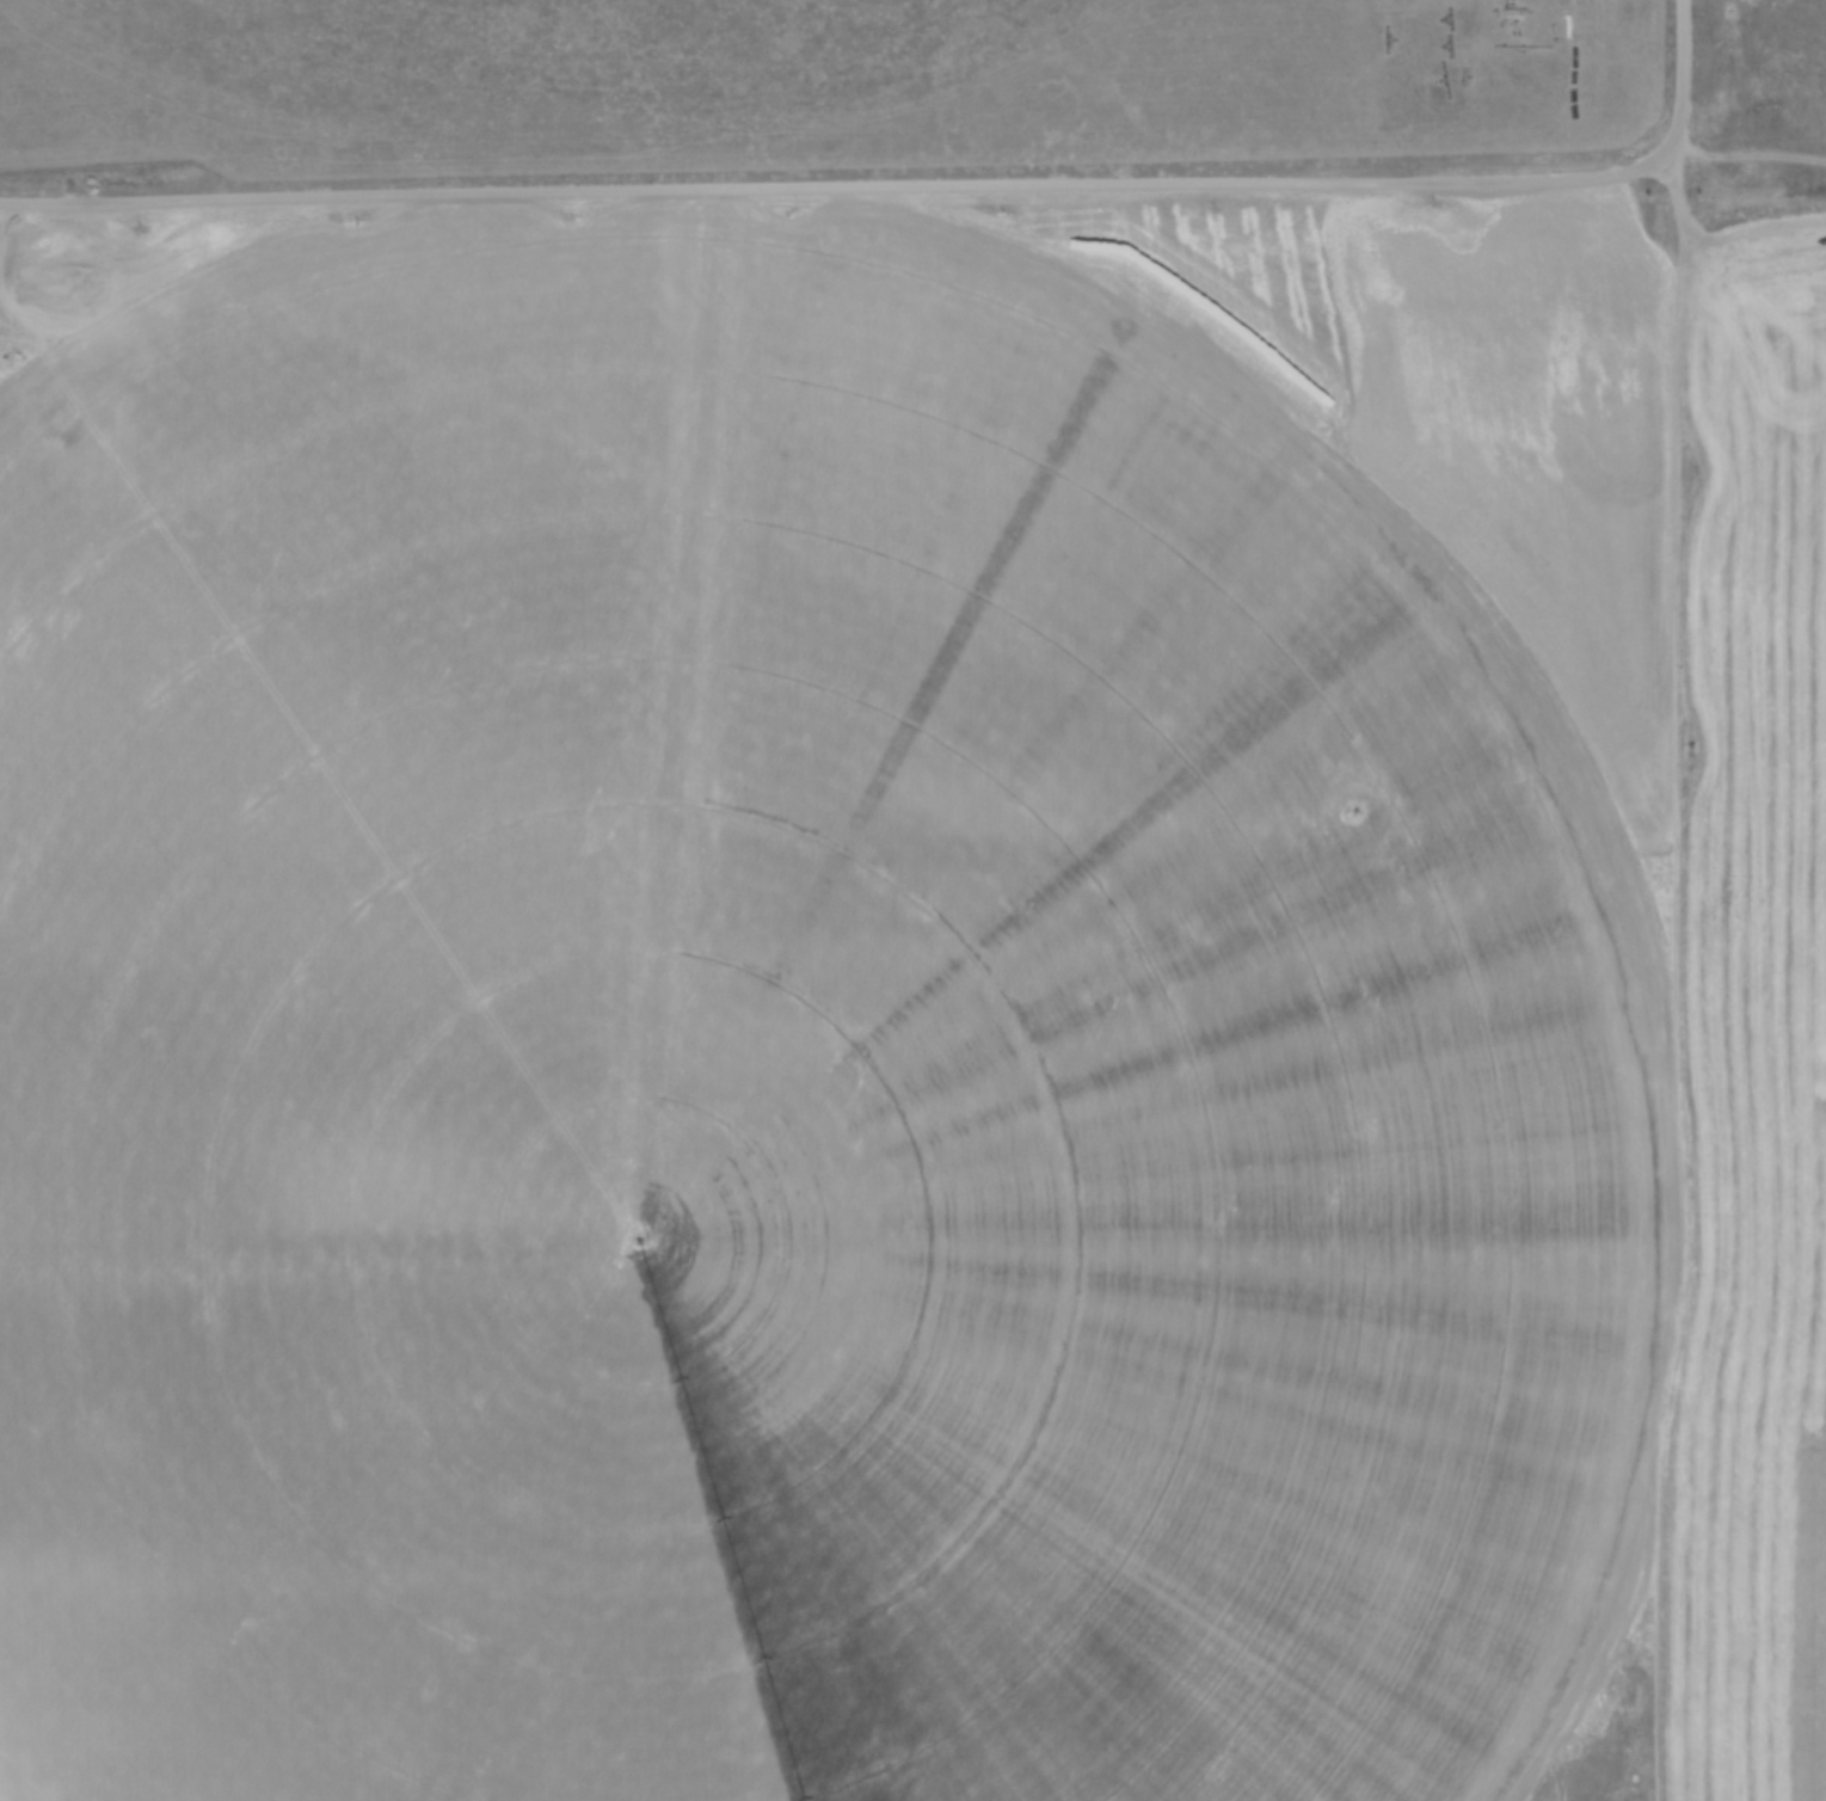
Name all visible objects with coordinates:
road: (1685, 66)
road: (850, 189)
building: (414, 531)
crop: (909, 1001)

